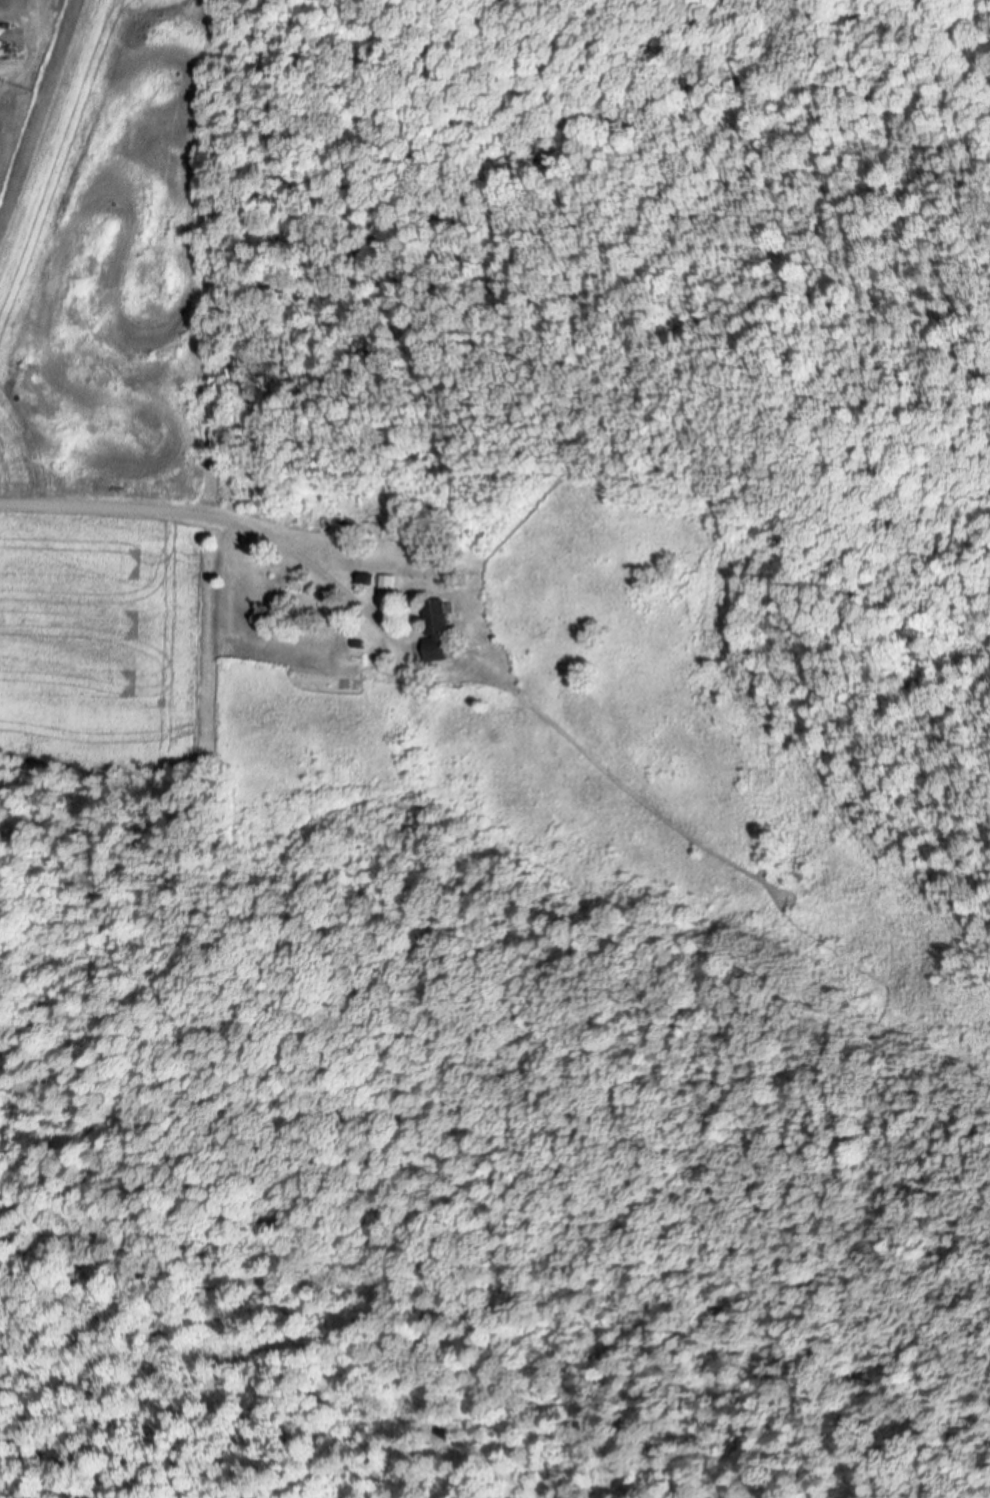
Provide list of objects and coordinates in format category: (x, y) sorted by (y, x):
park: (100, 240)
road: (215, 512)
building: (438, 630)

